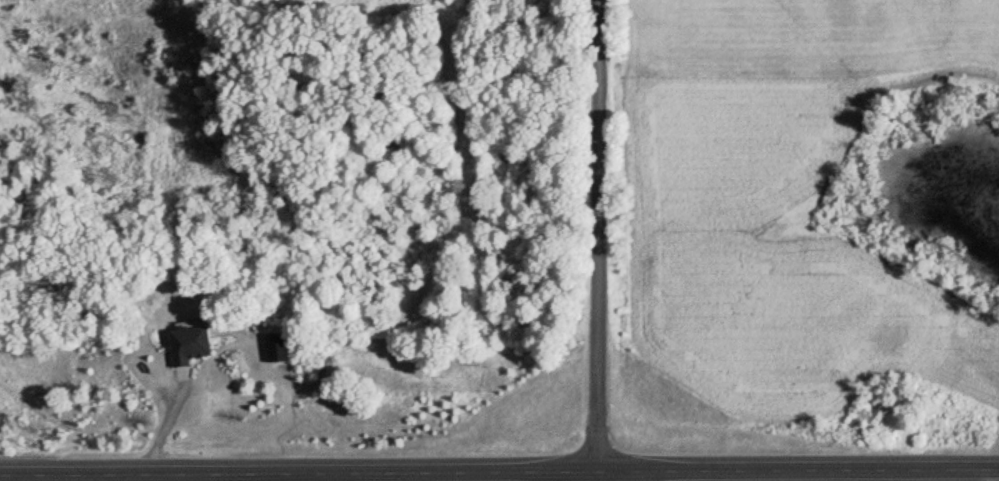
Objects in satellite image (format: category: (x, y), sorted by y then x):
road: (594, 240)
building: (184, 343)
building: (271, 347)
road: (499, 470)
road: (994, 475)

